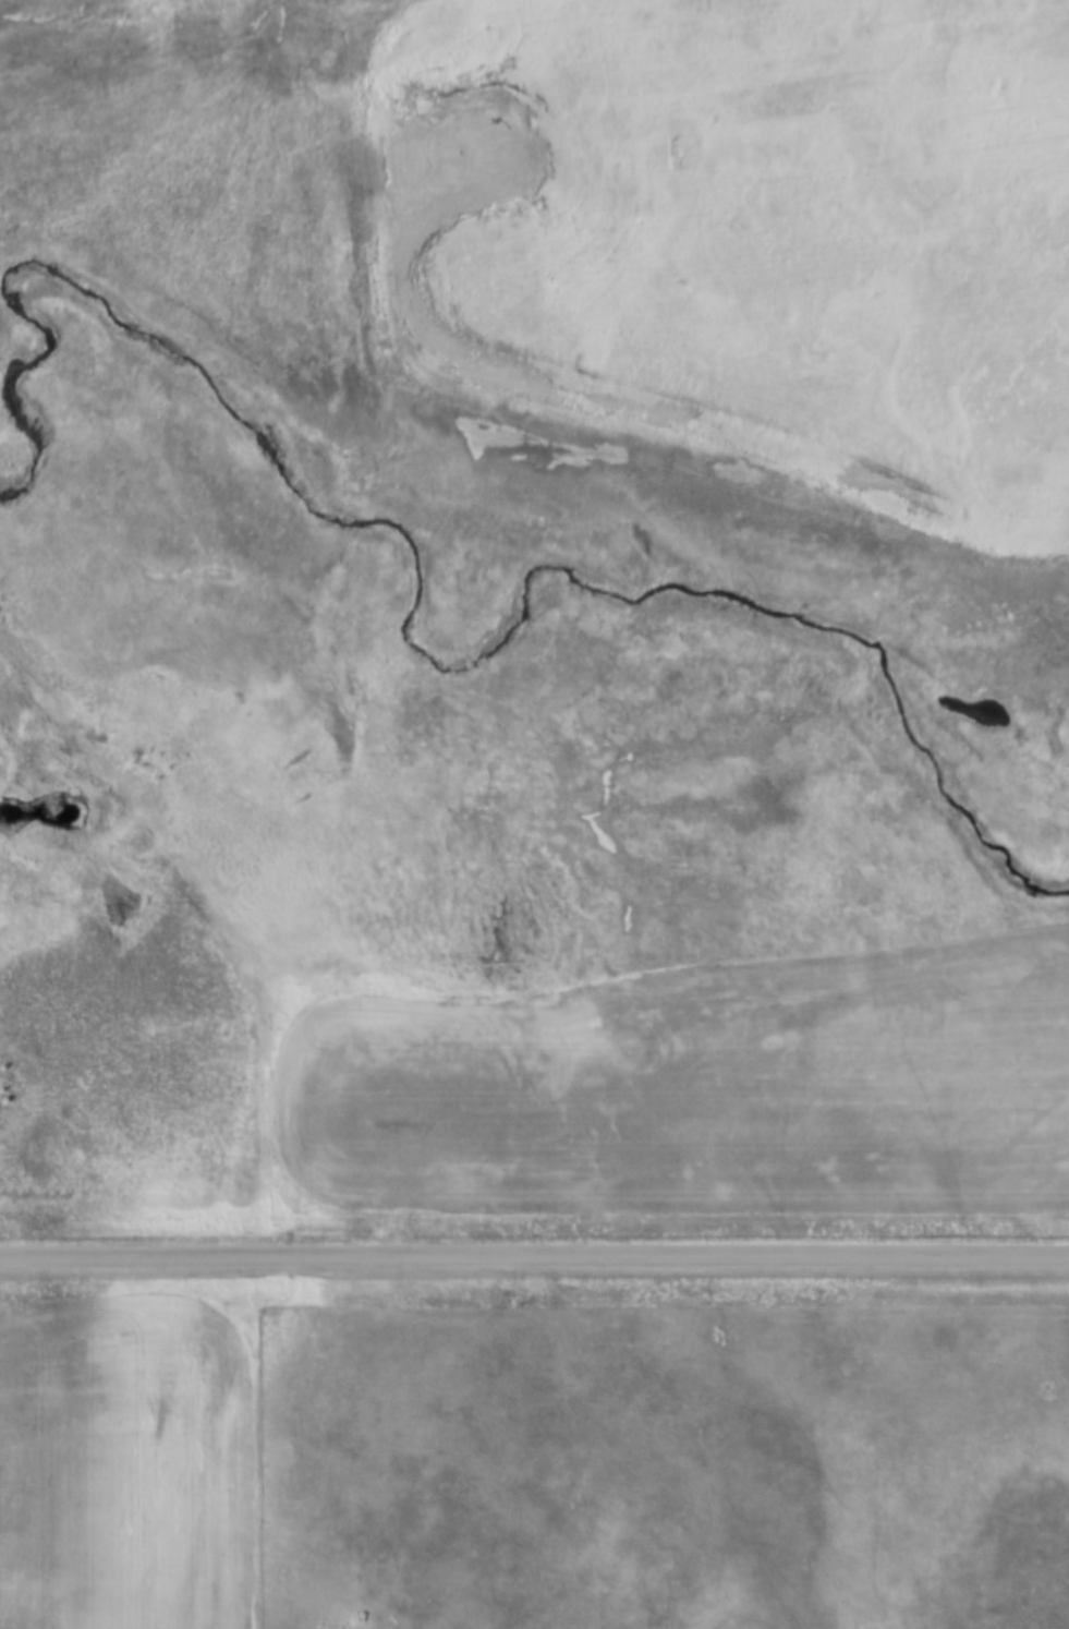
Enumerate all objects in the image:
road: (534, 1255)

